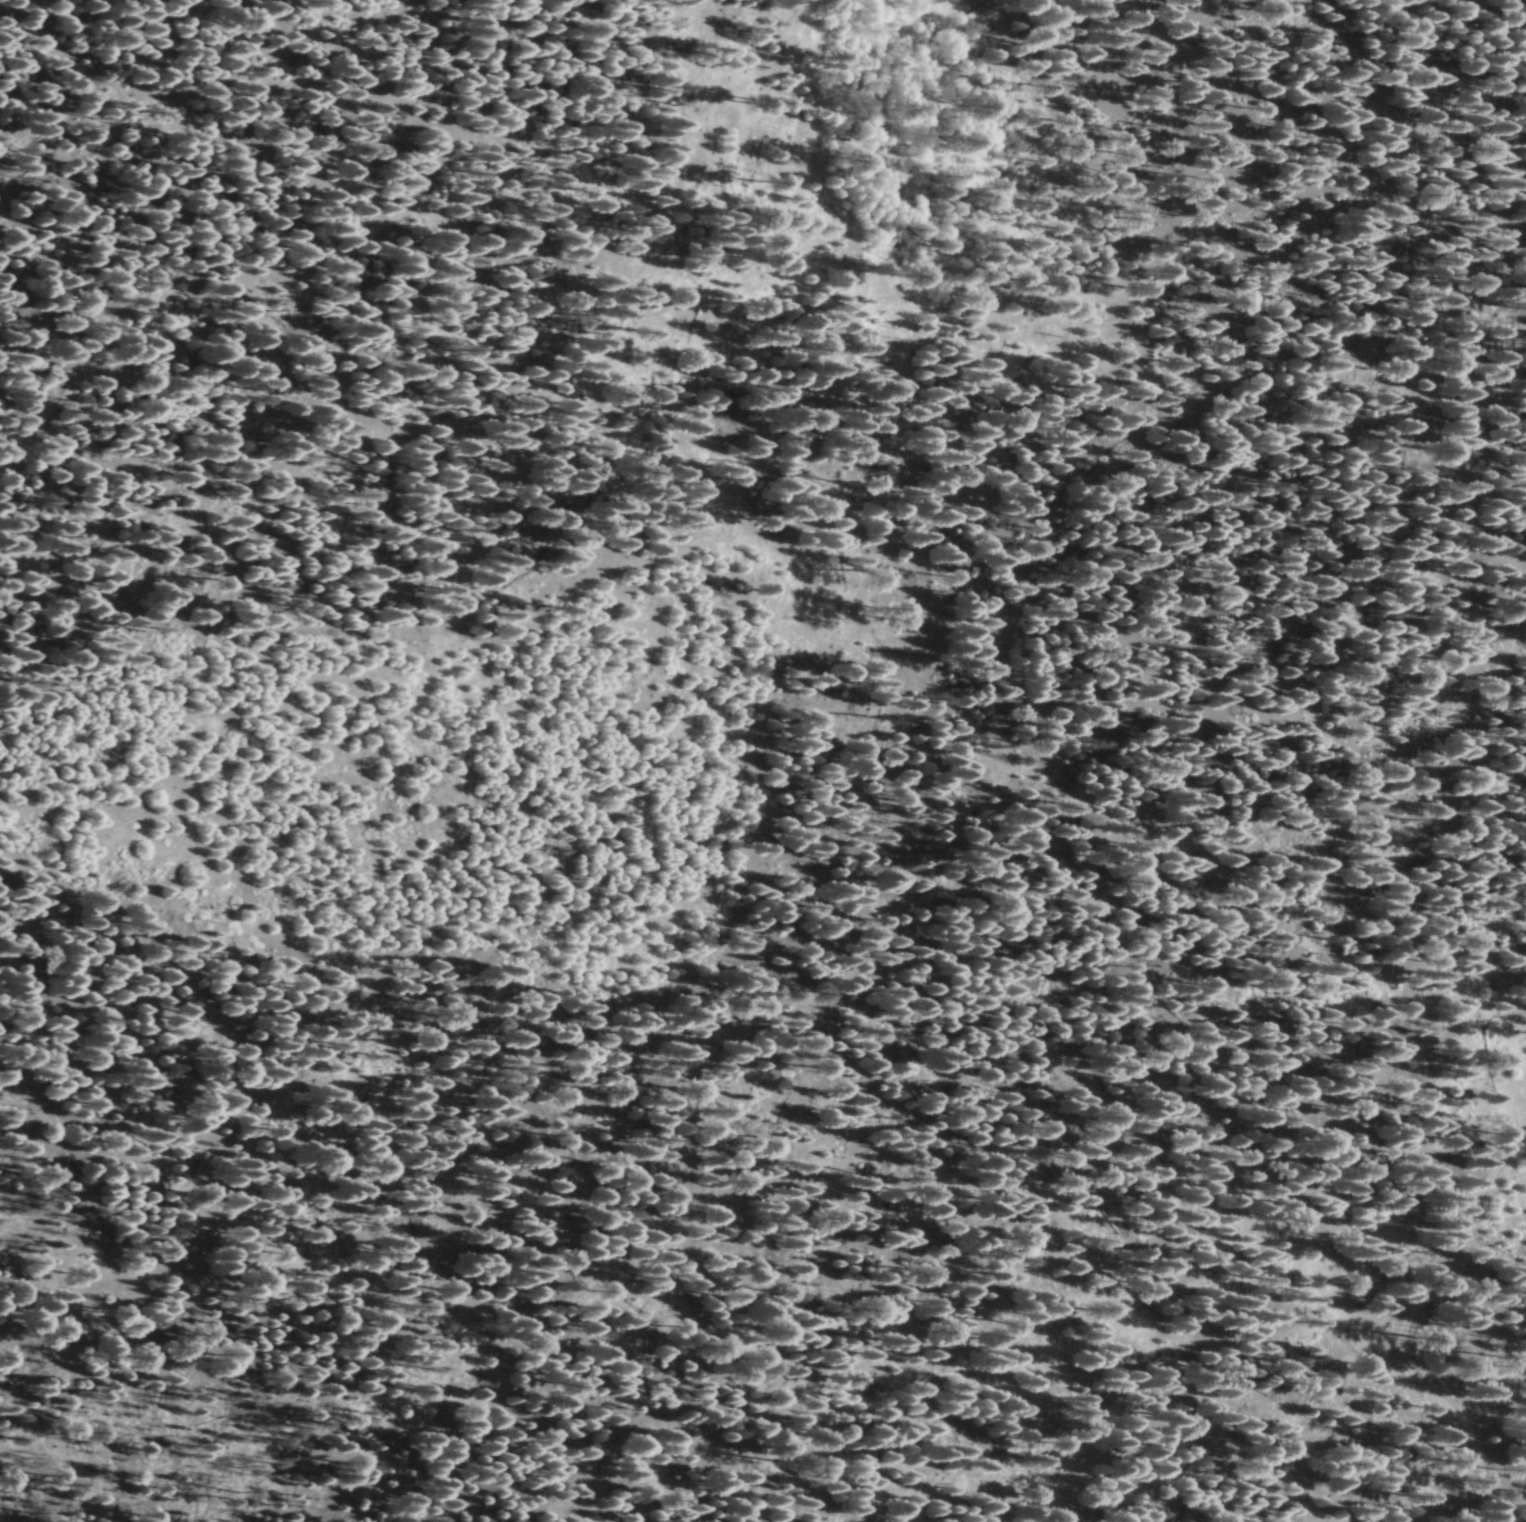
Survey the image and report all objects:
road: (1335, 275)
road: (13, 494)
road: (1415, 1310)

